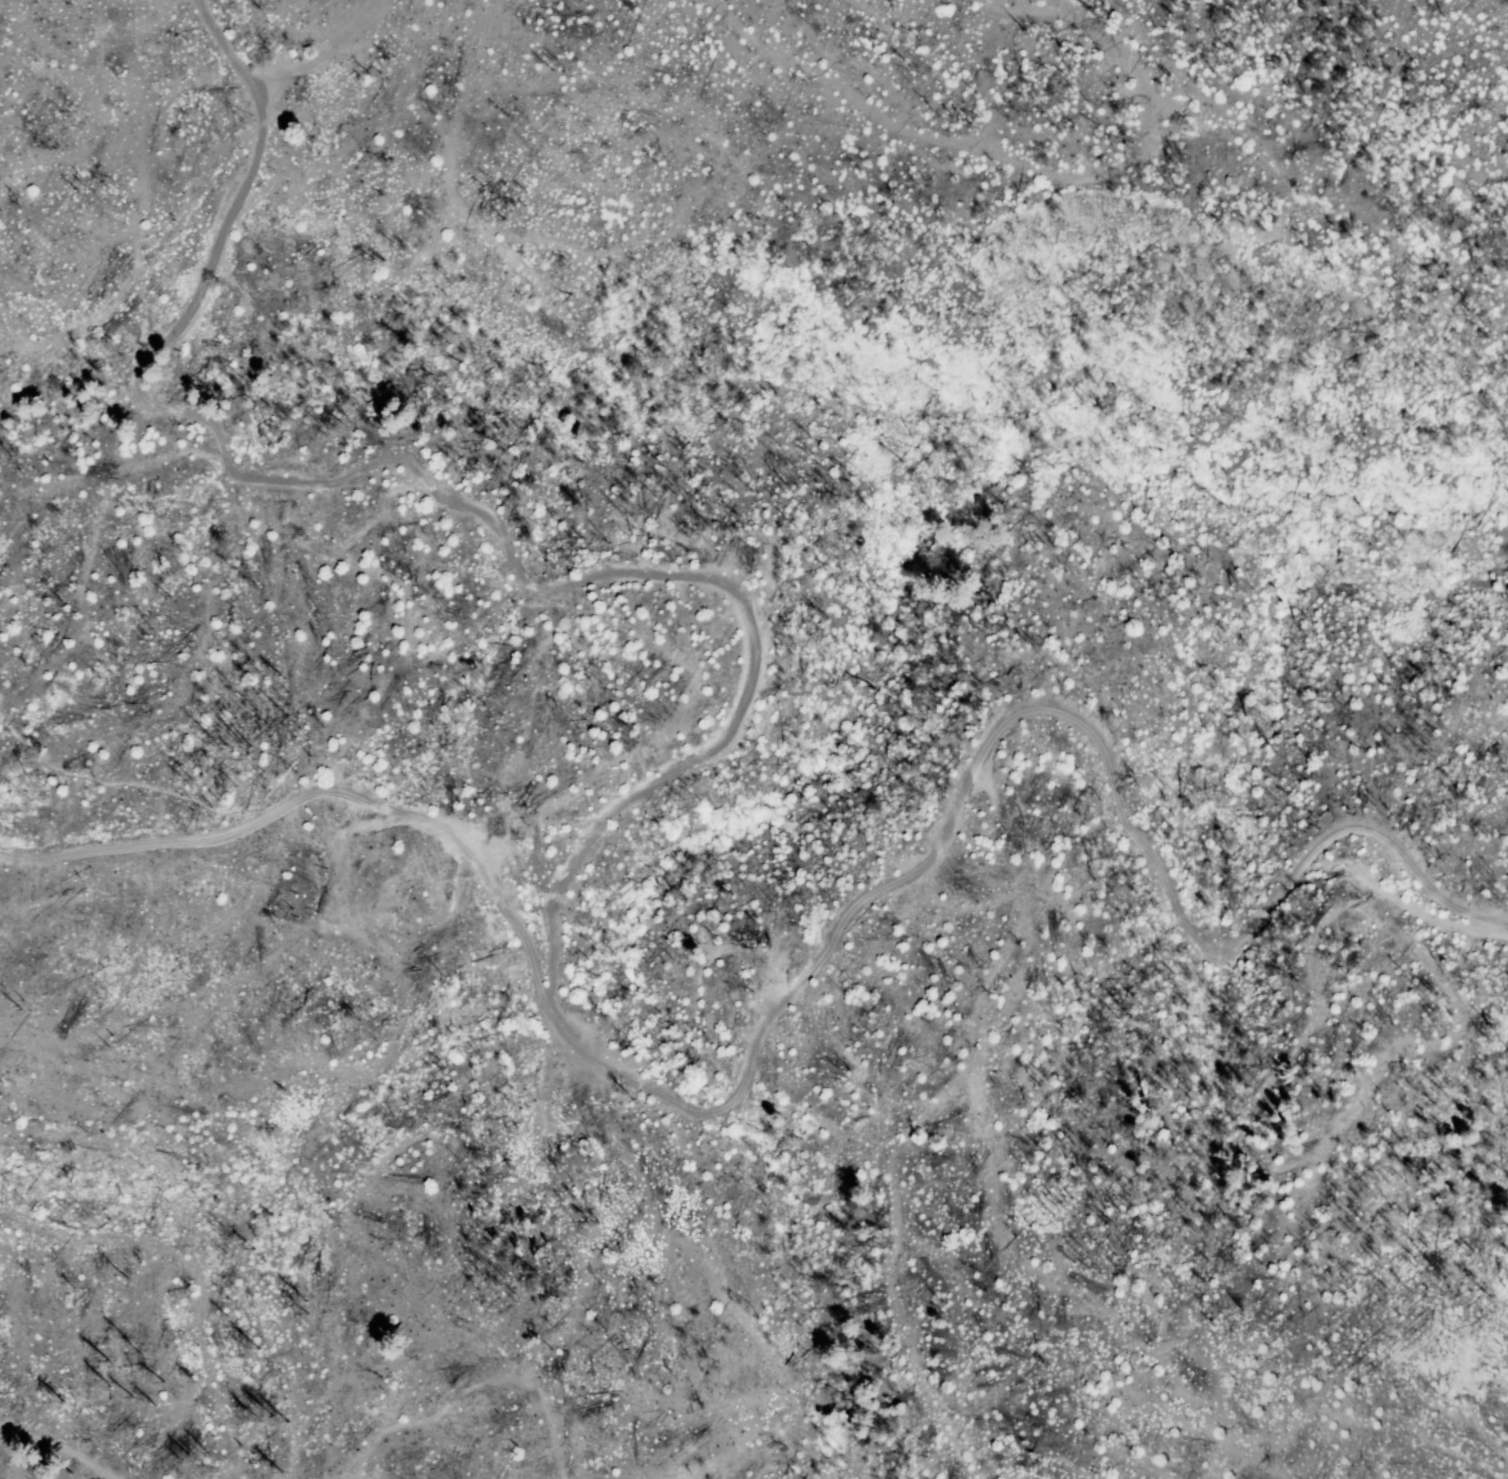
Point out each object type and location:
road: (130, 787)
road: (274, 811)
road: (509, 911)

